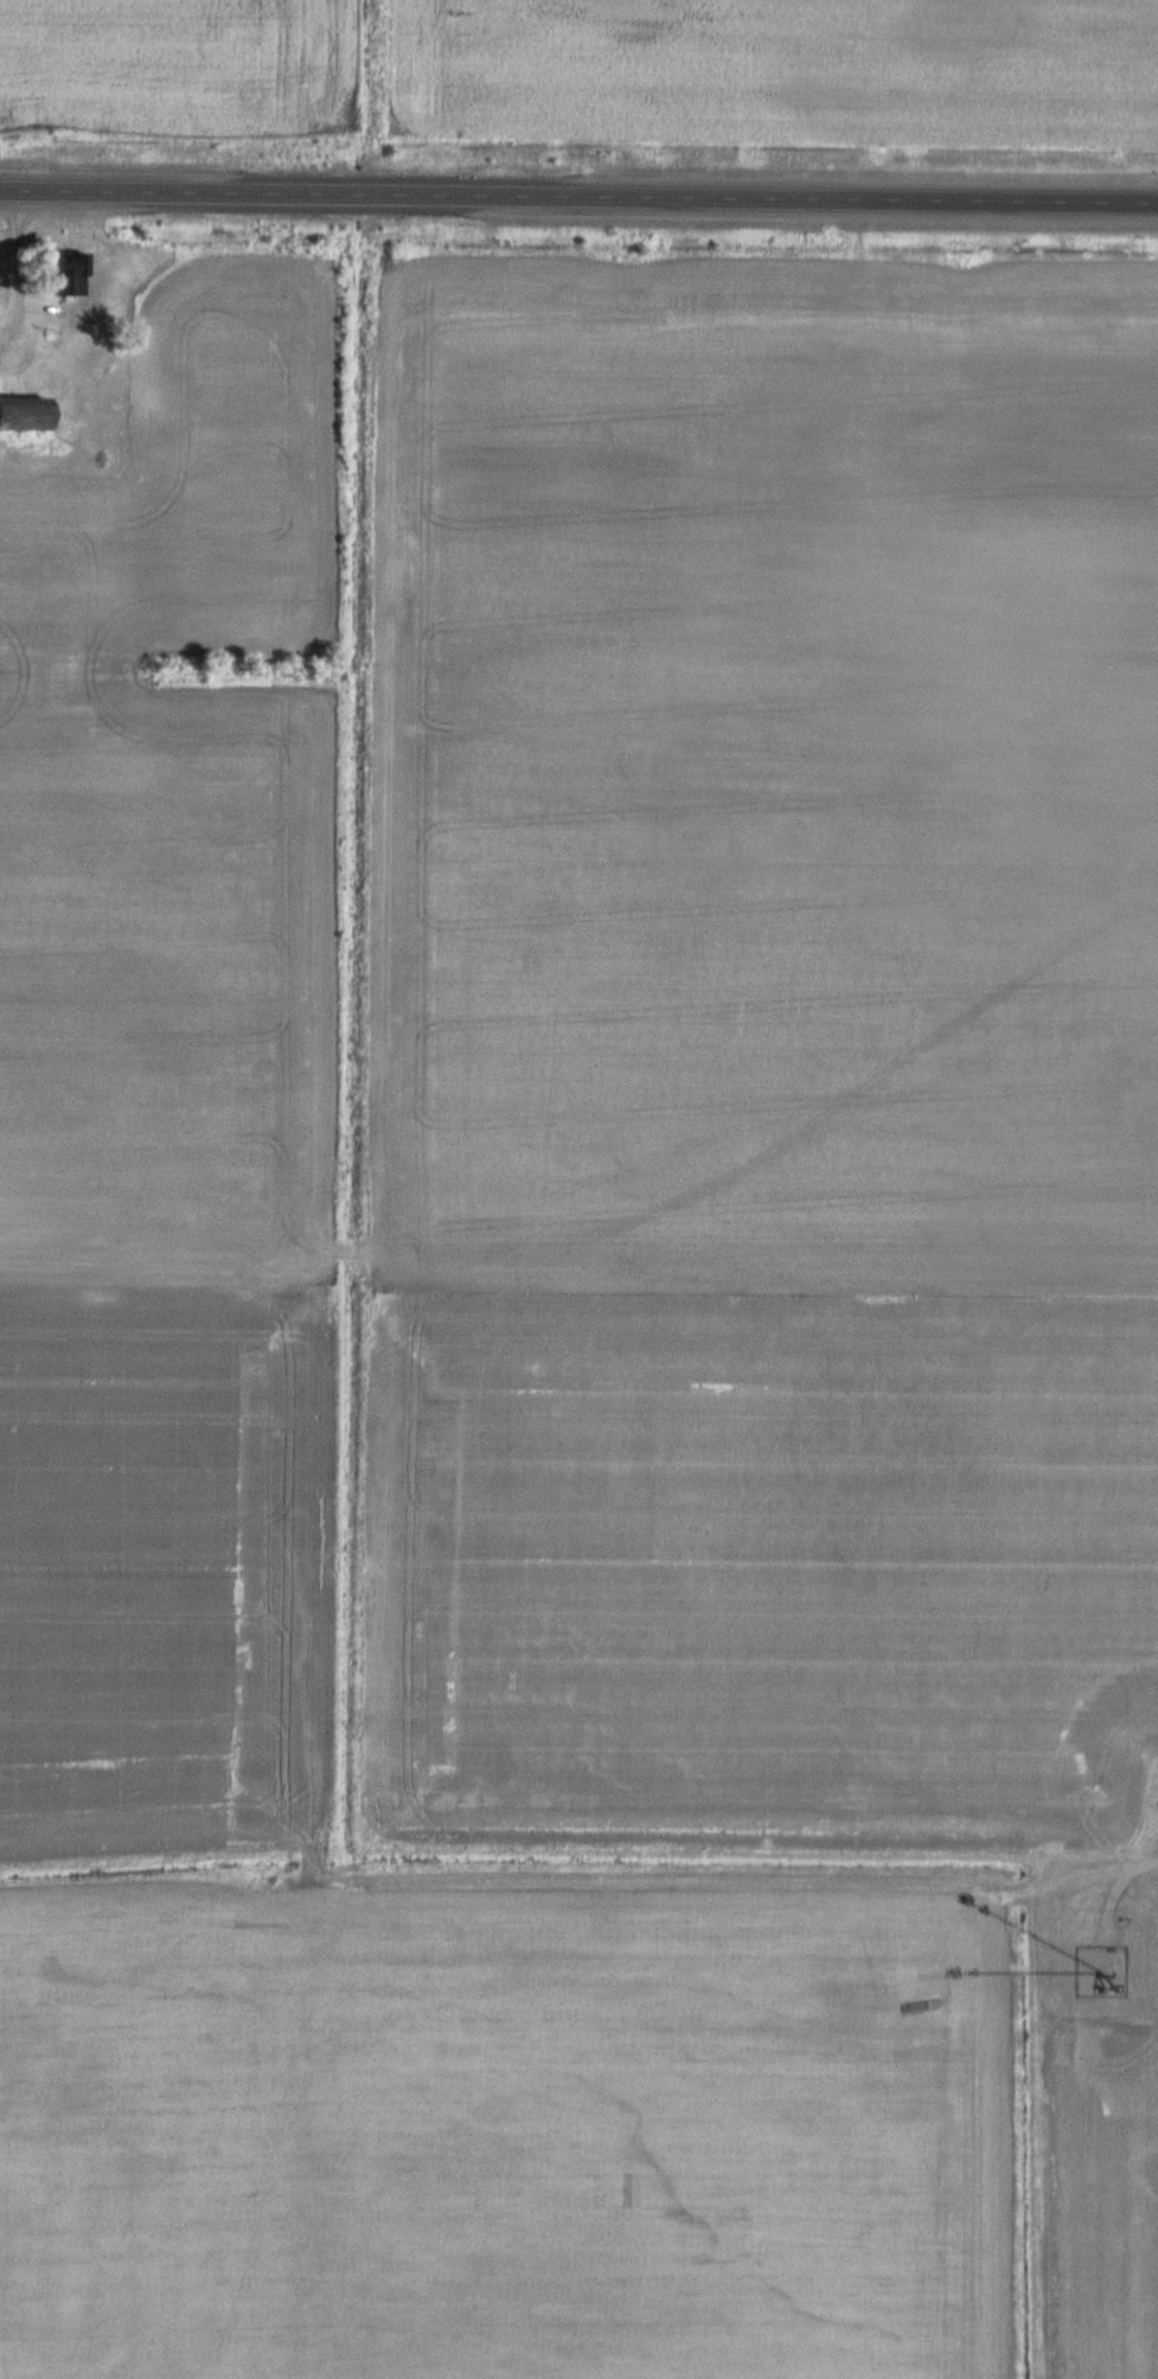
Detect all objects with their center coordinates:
road: (578, 199)
building: (63, 273)
building: (20, 413)
road: (1114, 1880)
building: (1115, 1971)

